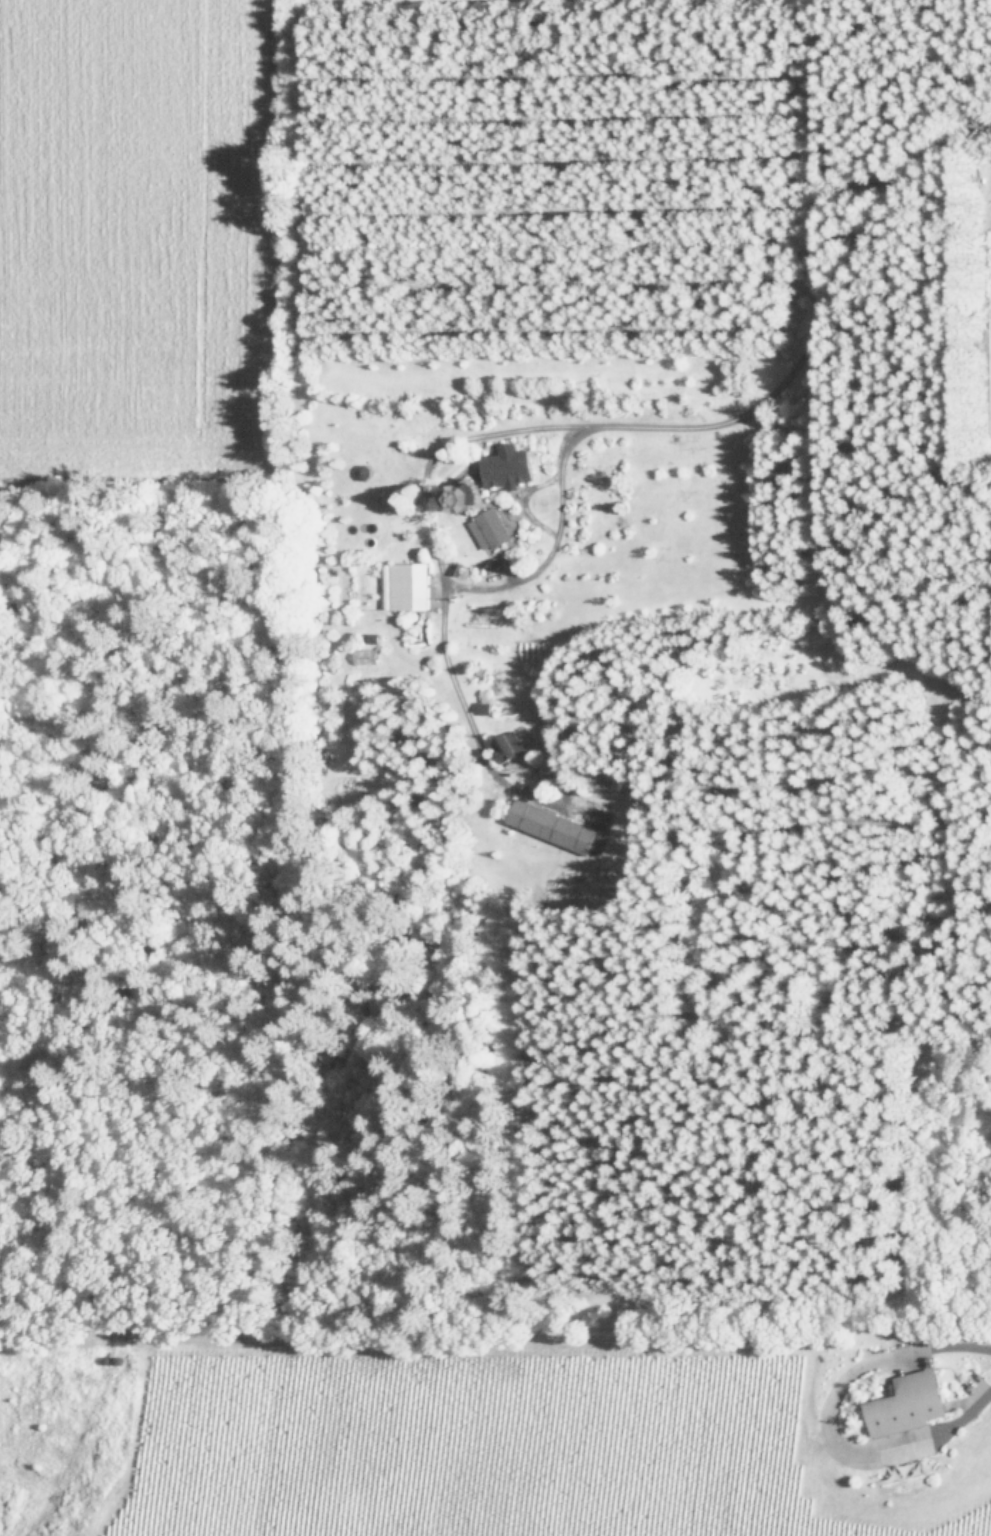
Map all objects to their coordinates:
road: (816, 326)
building: (511, 466)
building: (493, 528)
road: (436, 563)
building: (409, 585)
building: (511, 746)
building: (565, 827)
building: (911, 1403)
road: (823, 1420)

